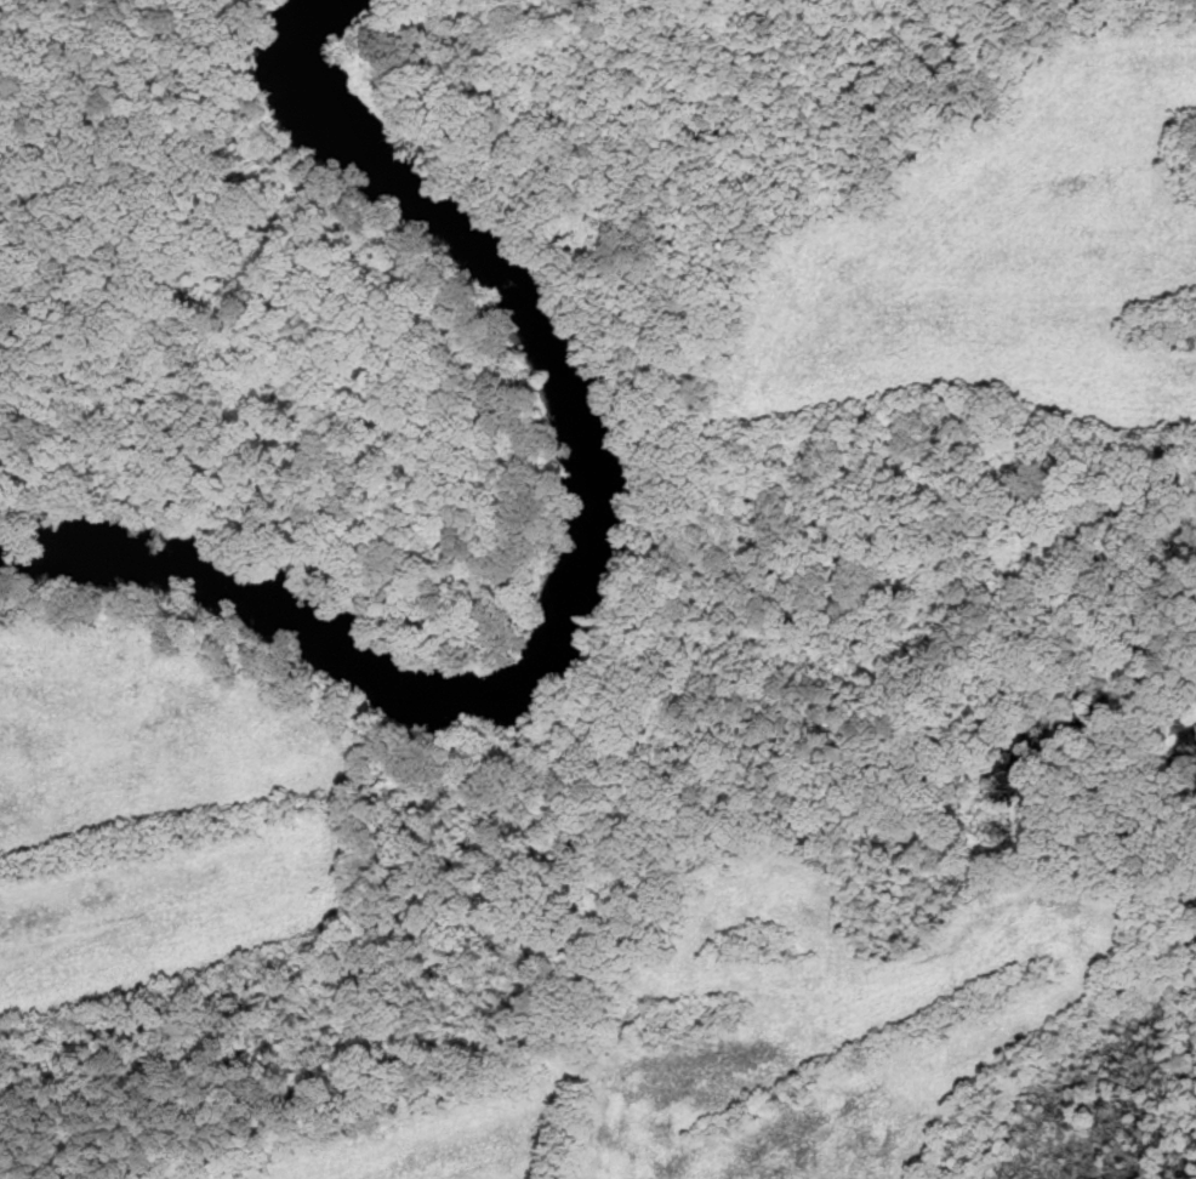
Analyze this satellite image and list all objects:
river: (583, 583)
road: (753, 816)

